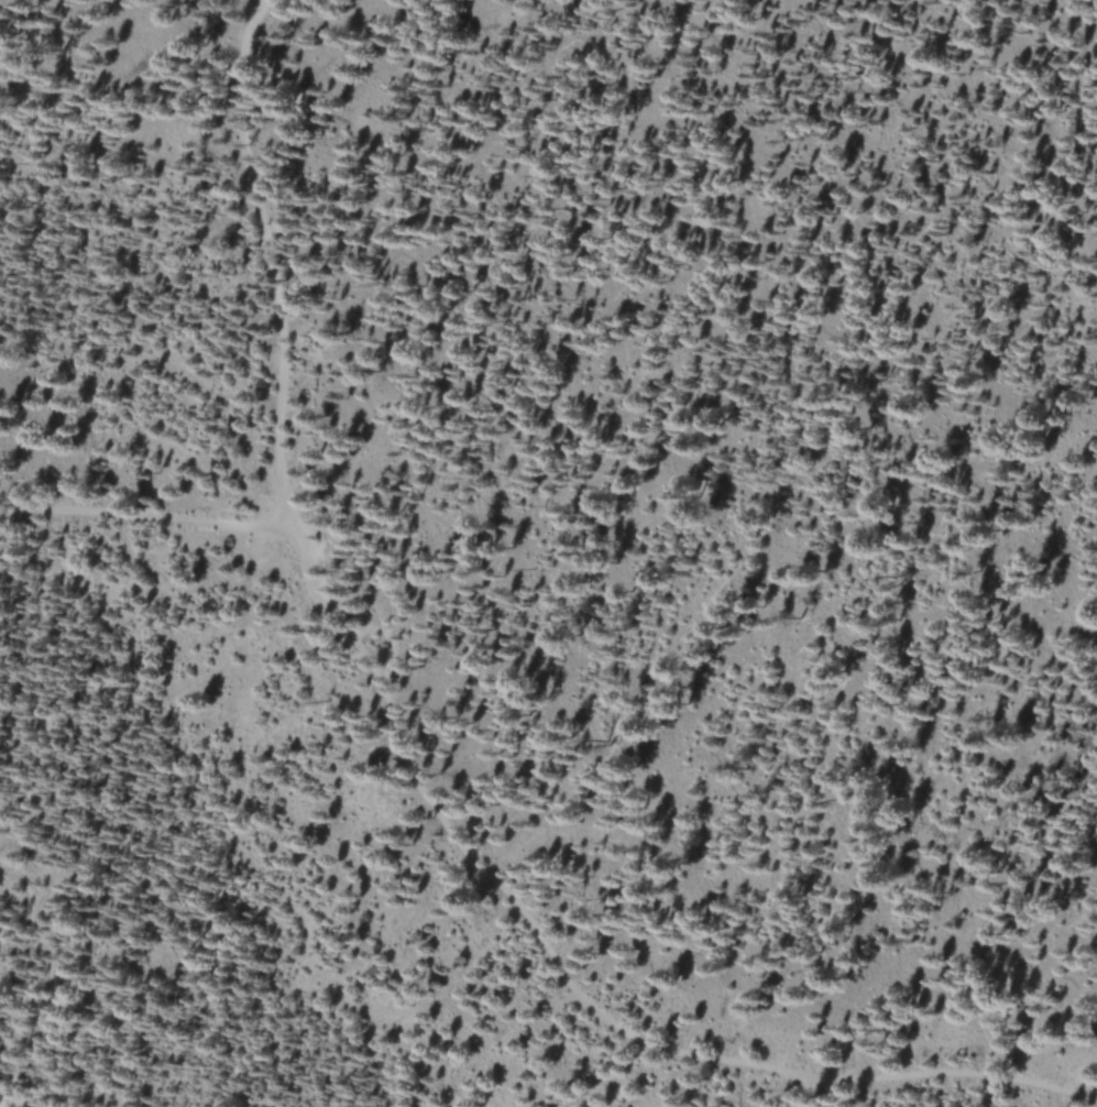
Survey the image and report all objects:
road: (268, 261)
road: (490, 872)

